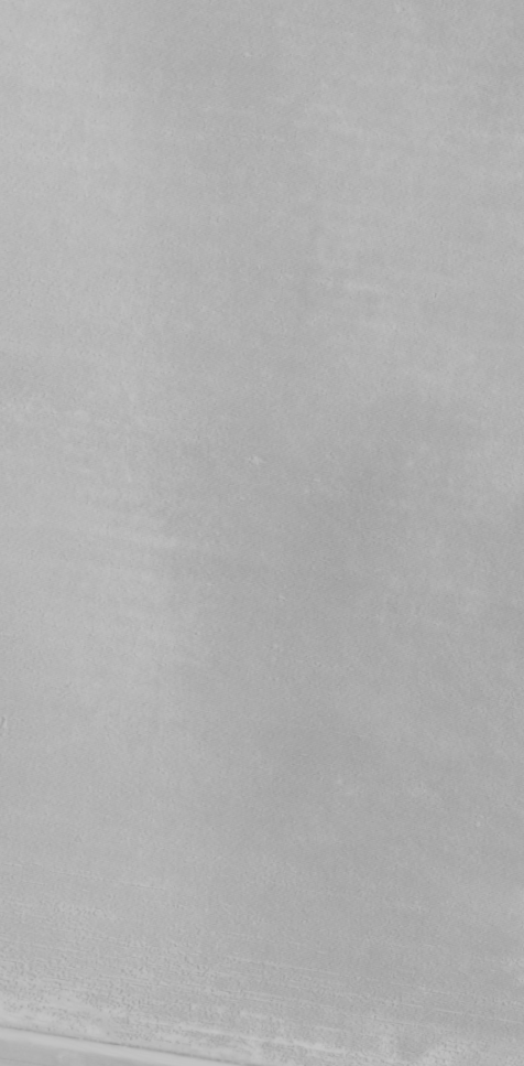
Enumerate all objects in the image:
road: (64, 1055)

